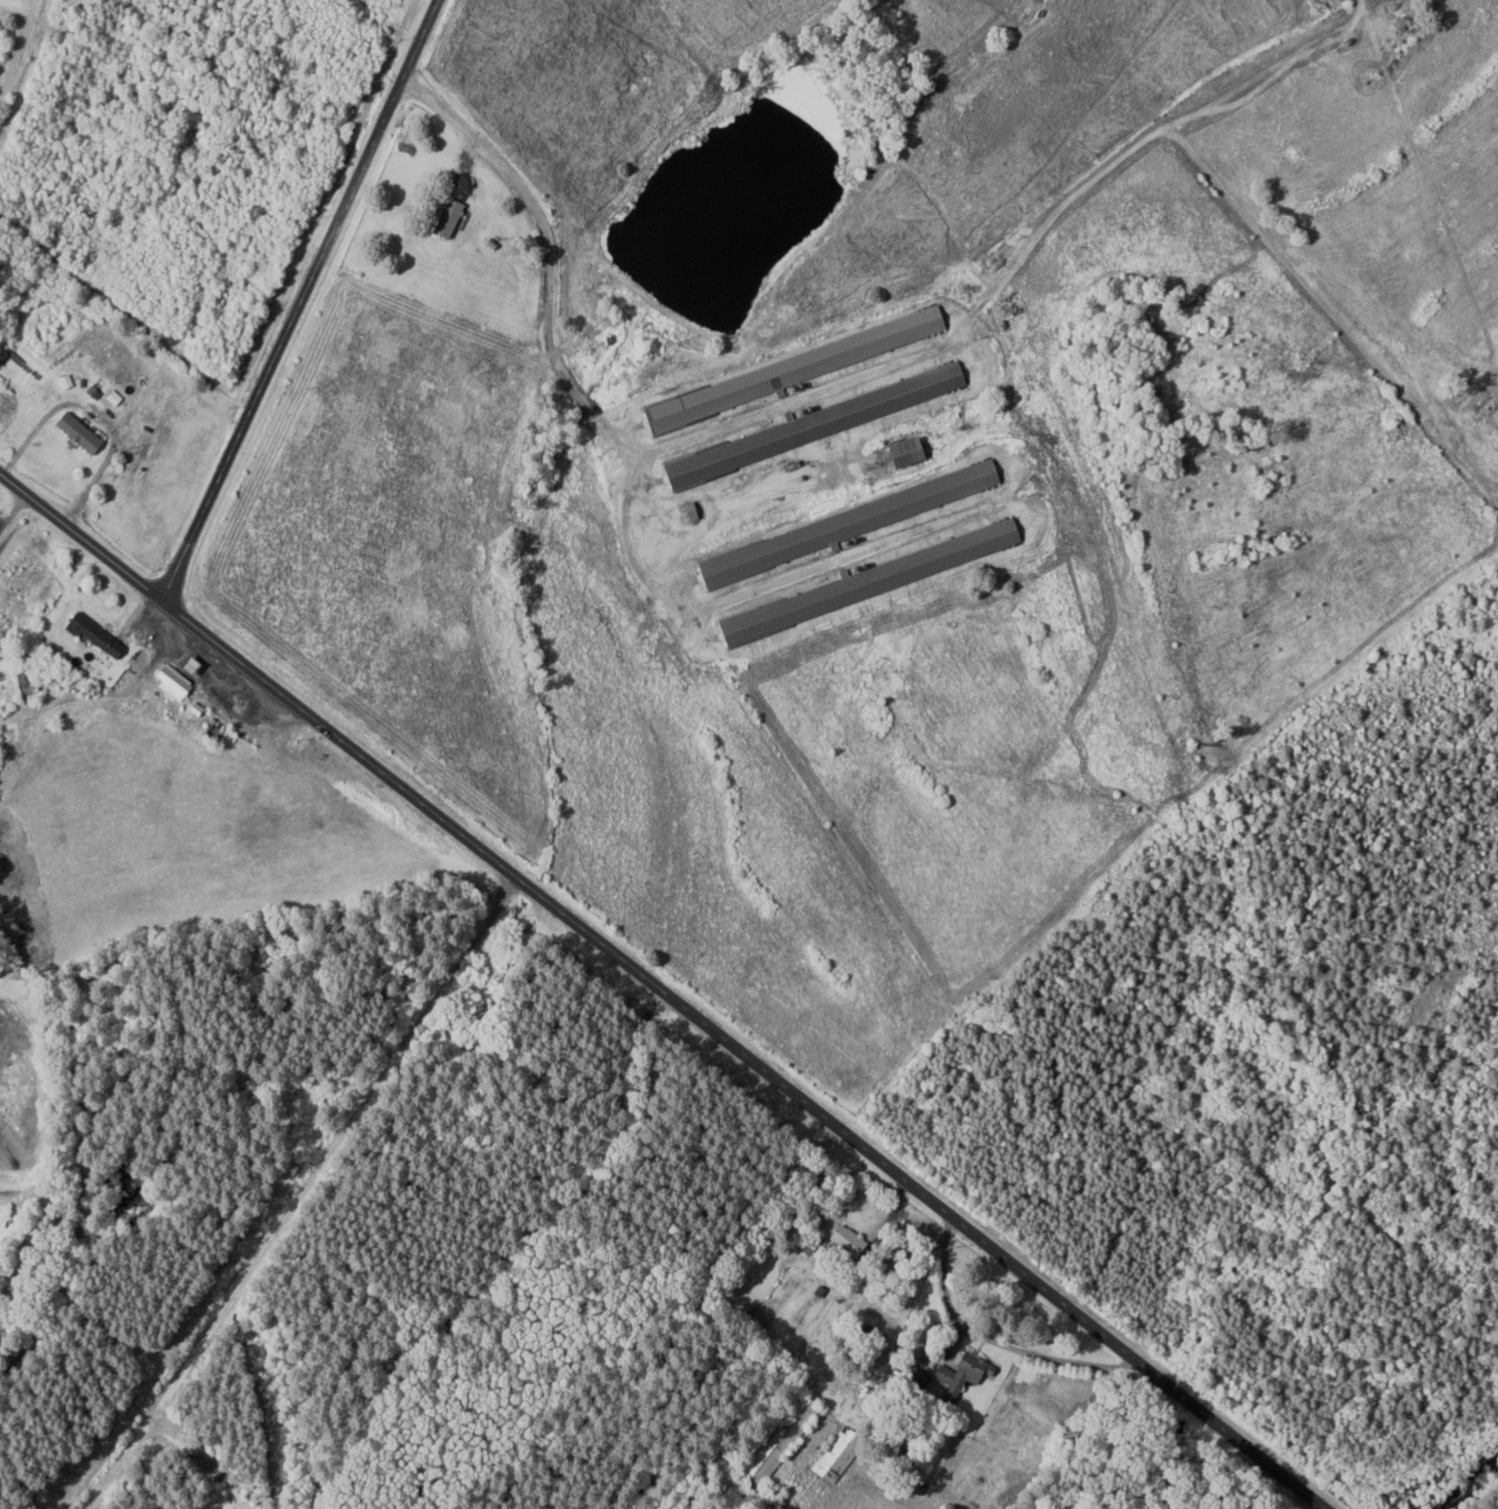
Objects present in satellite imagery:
building: (443, 217)
road: (297, 305)
building: (63, 380)
building: (90, 392)
building: (111, 397)
building: (822, 421)
building: (74, 432)
building: (901, 452)
building: (844, 524)
building: (91, 635)
building: (169, 681)
building: (193, 708)
road: (655, 996)
building: (844, 1240)
building: (958, 1374)

